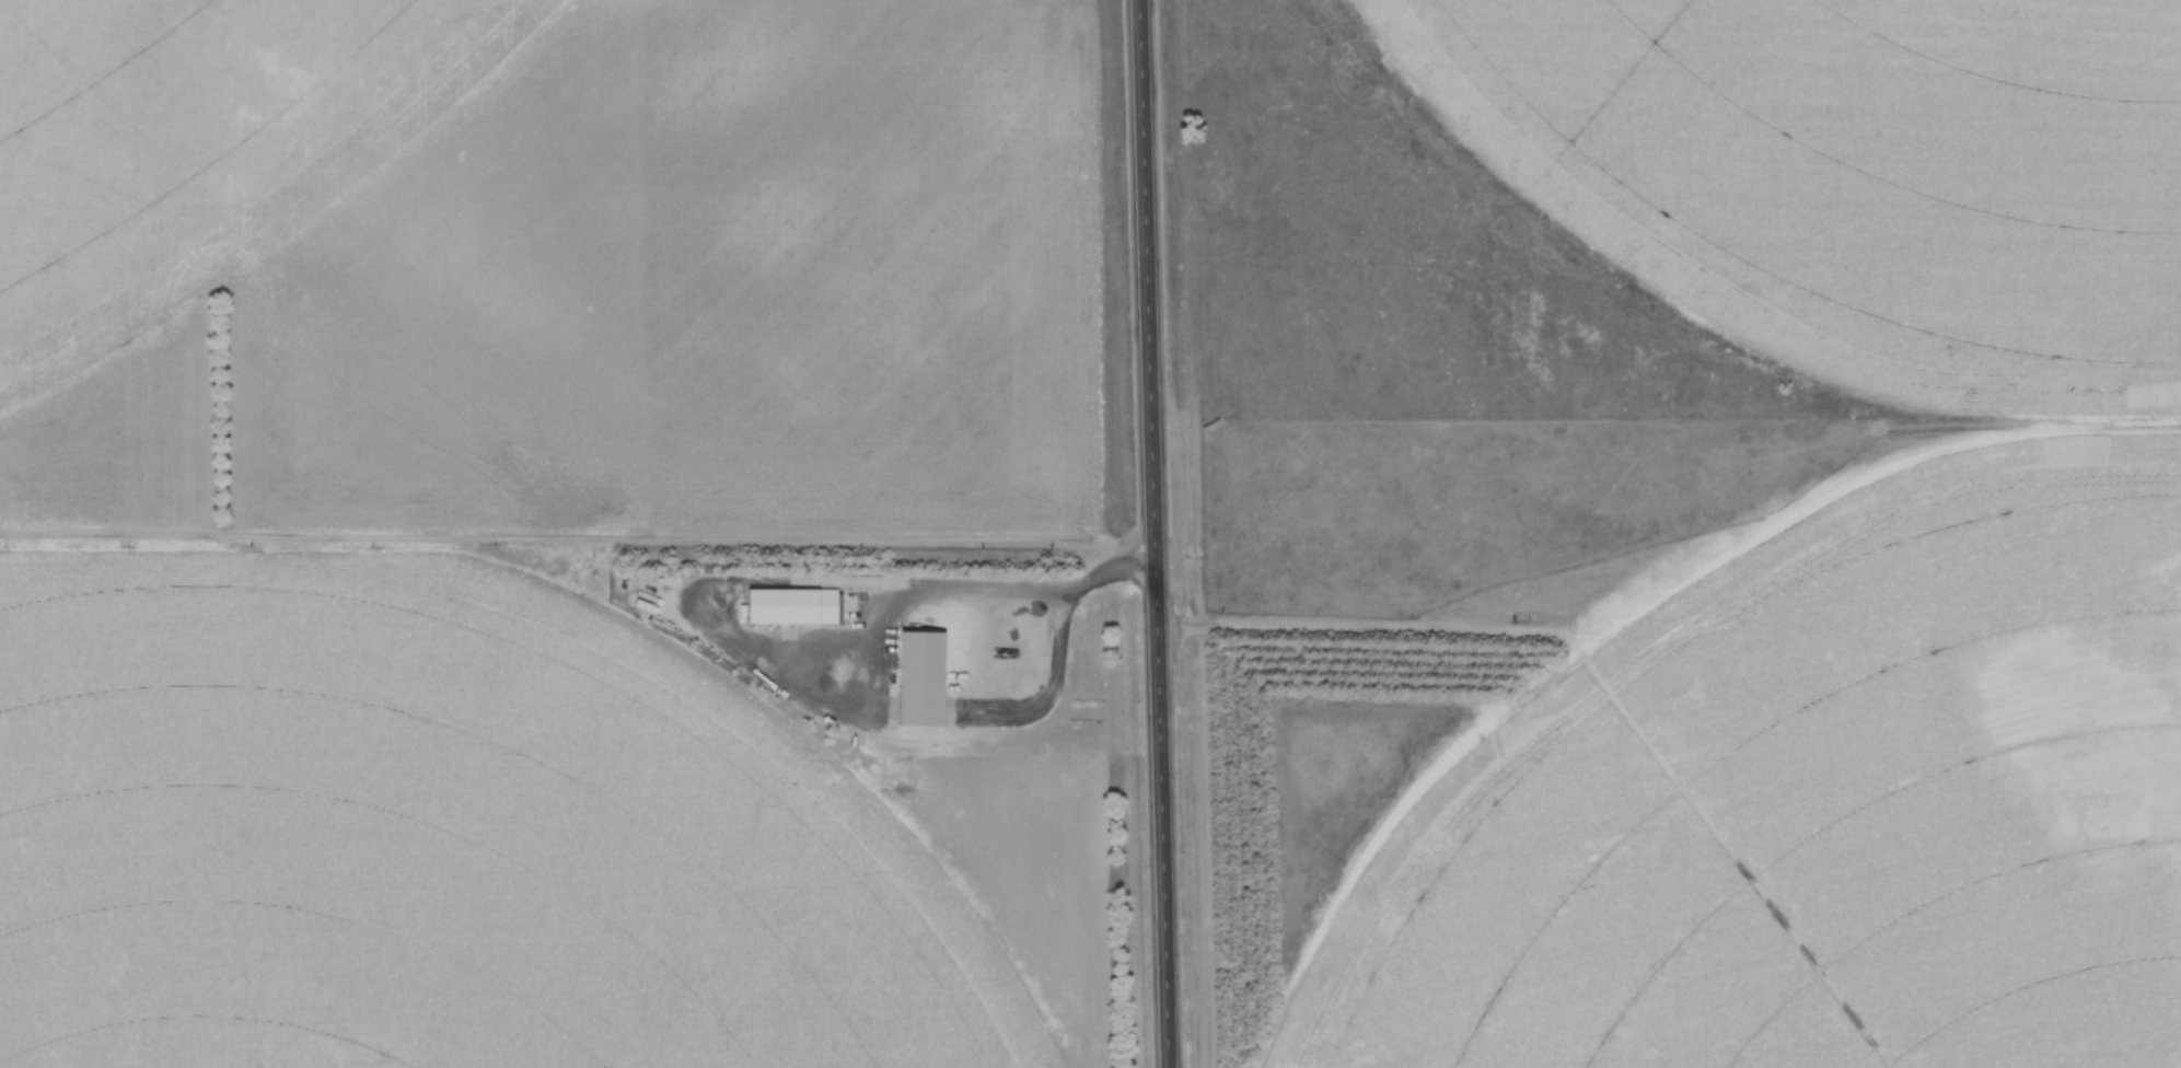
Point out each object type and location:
road: (1157, 533)
road: (1004, 580)
building: (788, 606)

